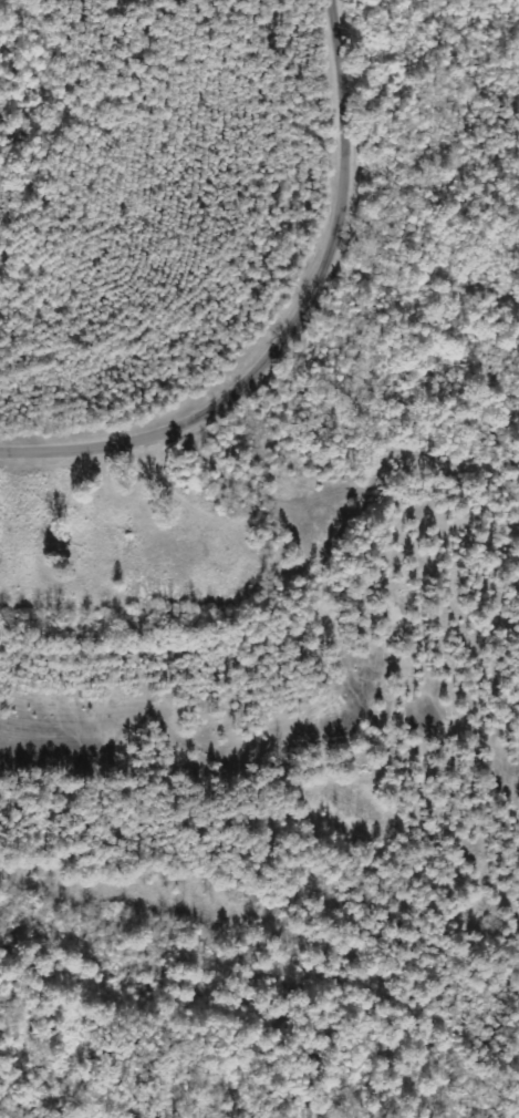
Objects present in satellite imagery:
road: (299, 327)
road: (335, 496)
park: (126, 539)

